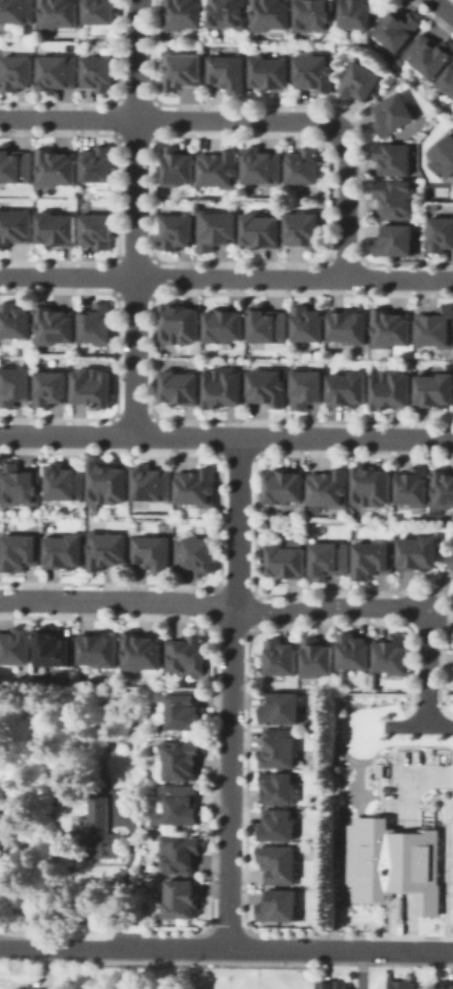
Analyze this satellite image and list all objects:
road: (443, 8)
building: (16, 9)
building: (100, 9)
building: (58, 11)
building: (183, 12)
building: (271, 12)
building: (316, 12)
building: (357, 12)
building: (228, 13)
building: (399, 25)
building: (429, 50)
building: (184, 65)
building: (18, 67)
building: (58, 67)
building: (101, 67)
building: (228, 67)
building: (274, 67)
building: (315, 67)
building: (361, 77)
building: (448, 77)
building: (395, 110)
road: (67, 117)
road: (312, 118)
building: (443, 152)
building: (395, 154)
building: (99, 158)
building: (305, 160)
building: (178, 161)
building: (262, 161)
building: (57, 162)
building: (14, 163)
building: (221, 165)
building: (395, 194)
road: (133, 217)
building: (217, 224)
building: (99, 225)
building: (178, 225)
building: (265, 225)
building: (307, 225)
building: (16, 227)
building: (56, 228)
building: (442, 229)
building: (396, 237)
road: (226, 275)
building: (181, 319)
building: (308, 319)
building: (14, 320)
building: (225, 320)
building: (267, 321)
building: (350, 322)
building: (394, 322)
building: (437, 322)
building: (53, 326)
building: (96, 326)
building: (181, 379)
building: (269, 383)
building: (225, 384)
building: (308, 384)
building: (350, 384)
building: (393, 385)
building: (92, 386)
building: (436, 386)
building: (13, 387)
building: (50, 388)
road: (226, 435)
building: (415, 480)
building: (152, 481)
building: (374, 481)
building: (66, 482)
building: (286, 482)
building: (331, 482)
building: (444, 484)
building: (20, 485)
building: (108, 485)
building: (197, 485)
building: (421, 548)
building: (106, 550)
building: (63, 551)
building: (20, 553)
building: (194, 553)
building: (152, 554)
building: (374, 554)
building: (331, 555)
building: (452, 557)
building: (290, 558)
road: (210, 605)
road: (436, 607)
building: (14, 646)
building: (355, 647)
building: (55, 648)
building: (98, 650)
building: (394, 650)
building: (139, 653)
building: (185, 655)
building: (319, 655)
building: (280, 658)
road: (427, 667)
road: (229, 690)
building: (283, 708)
building: (187, 713)
road: (419, 725)
building: (279, 747)
building: (181, 759)
road: (407, 782)
parking lot: (403, 783)
building: (278, 787)
building: (4, 790)
building: (182, 805)
building: (277, 825)
building: (3, 826)
building: (98, 832)
parking lot: (449, 836)
building: (180, 854)
road: (406, 861)
building: (390, 862)
building: (280, 864)
parking lot: (449, 893)
building: (182, 898)
building: (280, 906)
road: (407, 921)
road: (66, 944)
road: (293, 947)
road: (359, 969)
building: (401, 984)
building: (334, 985)
building: (451, 986)

